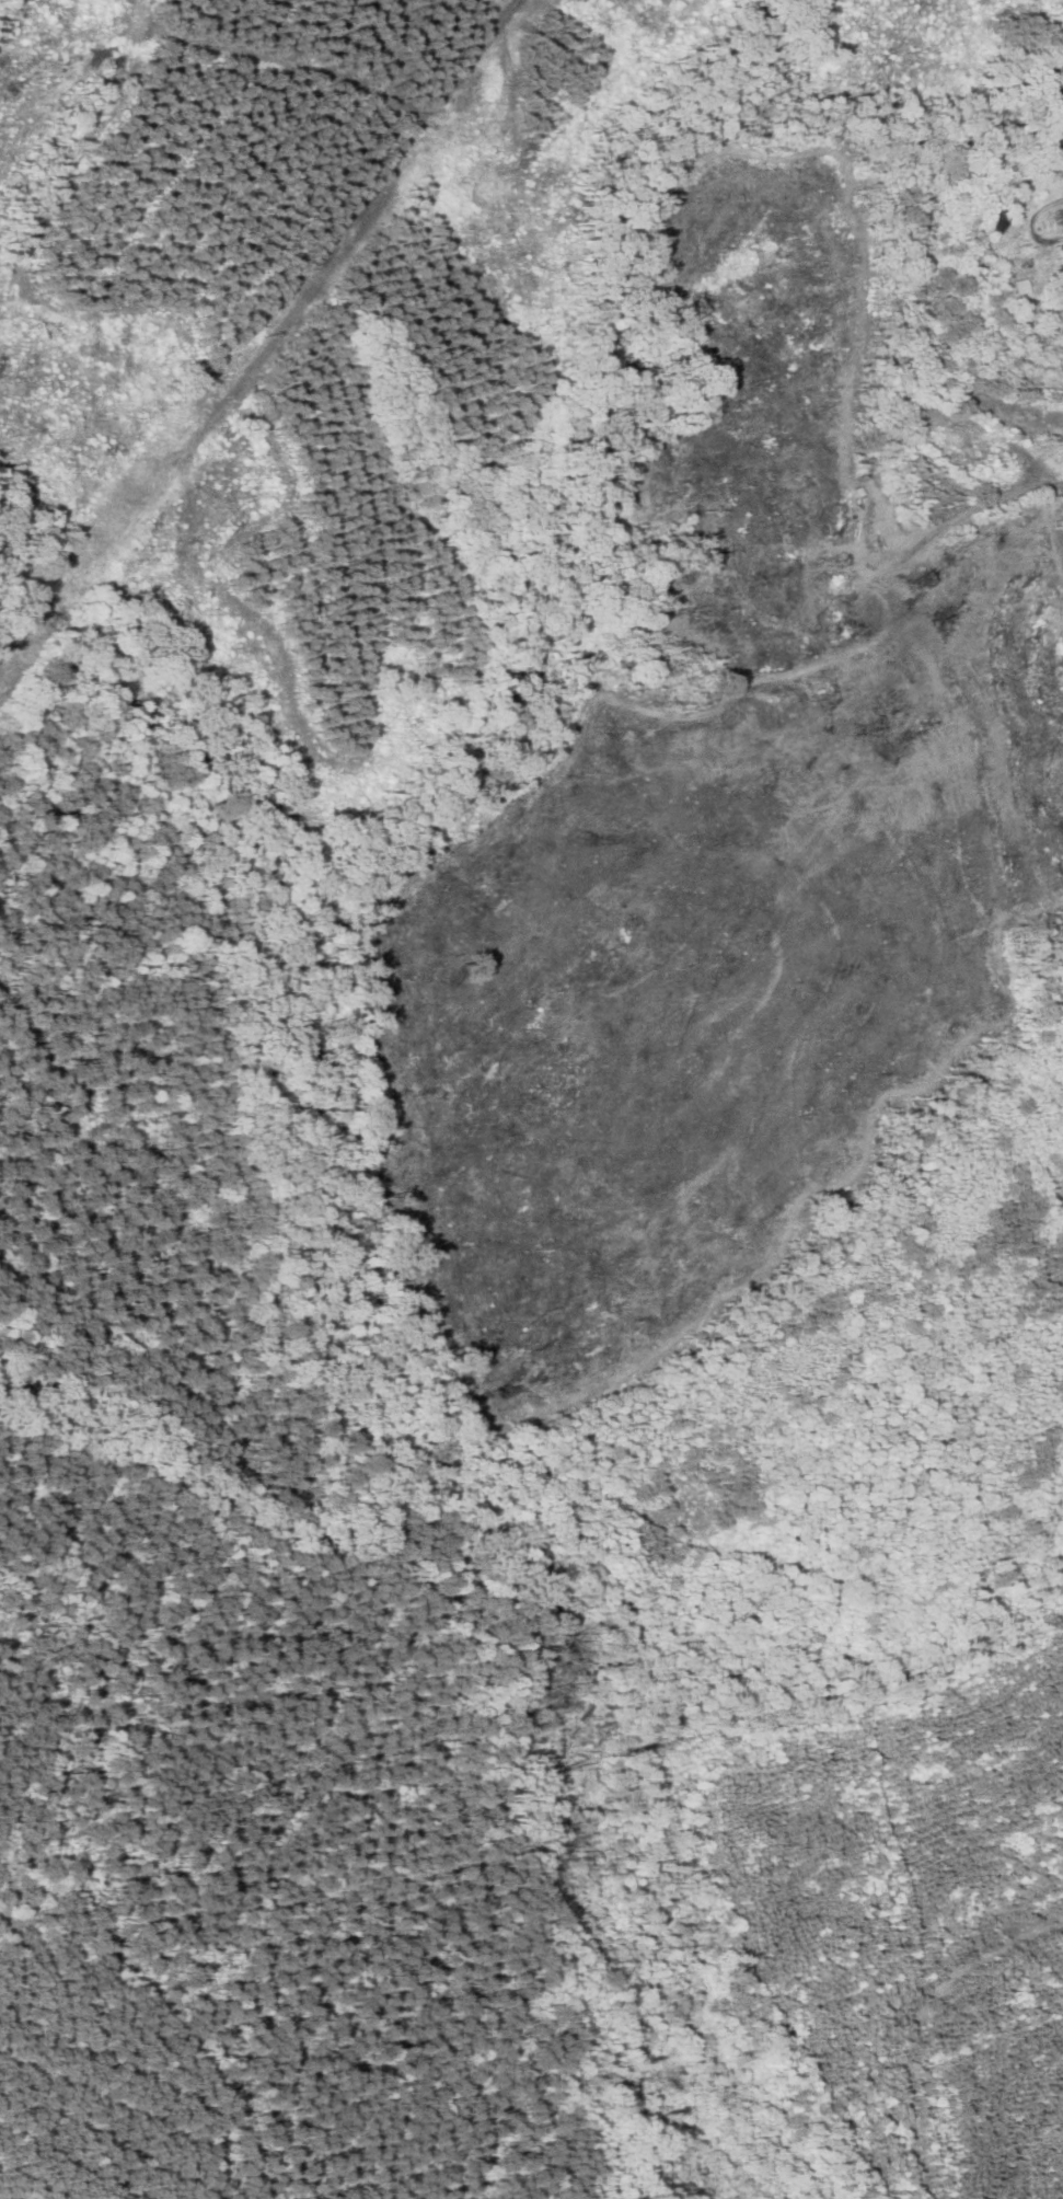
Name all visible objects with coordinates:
building: (1002, 221)
building: (1026, 264)
river: (407, 1368)

